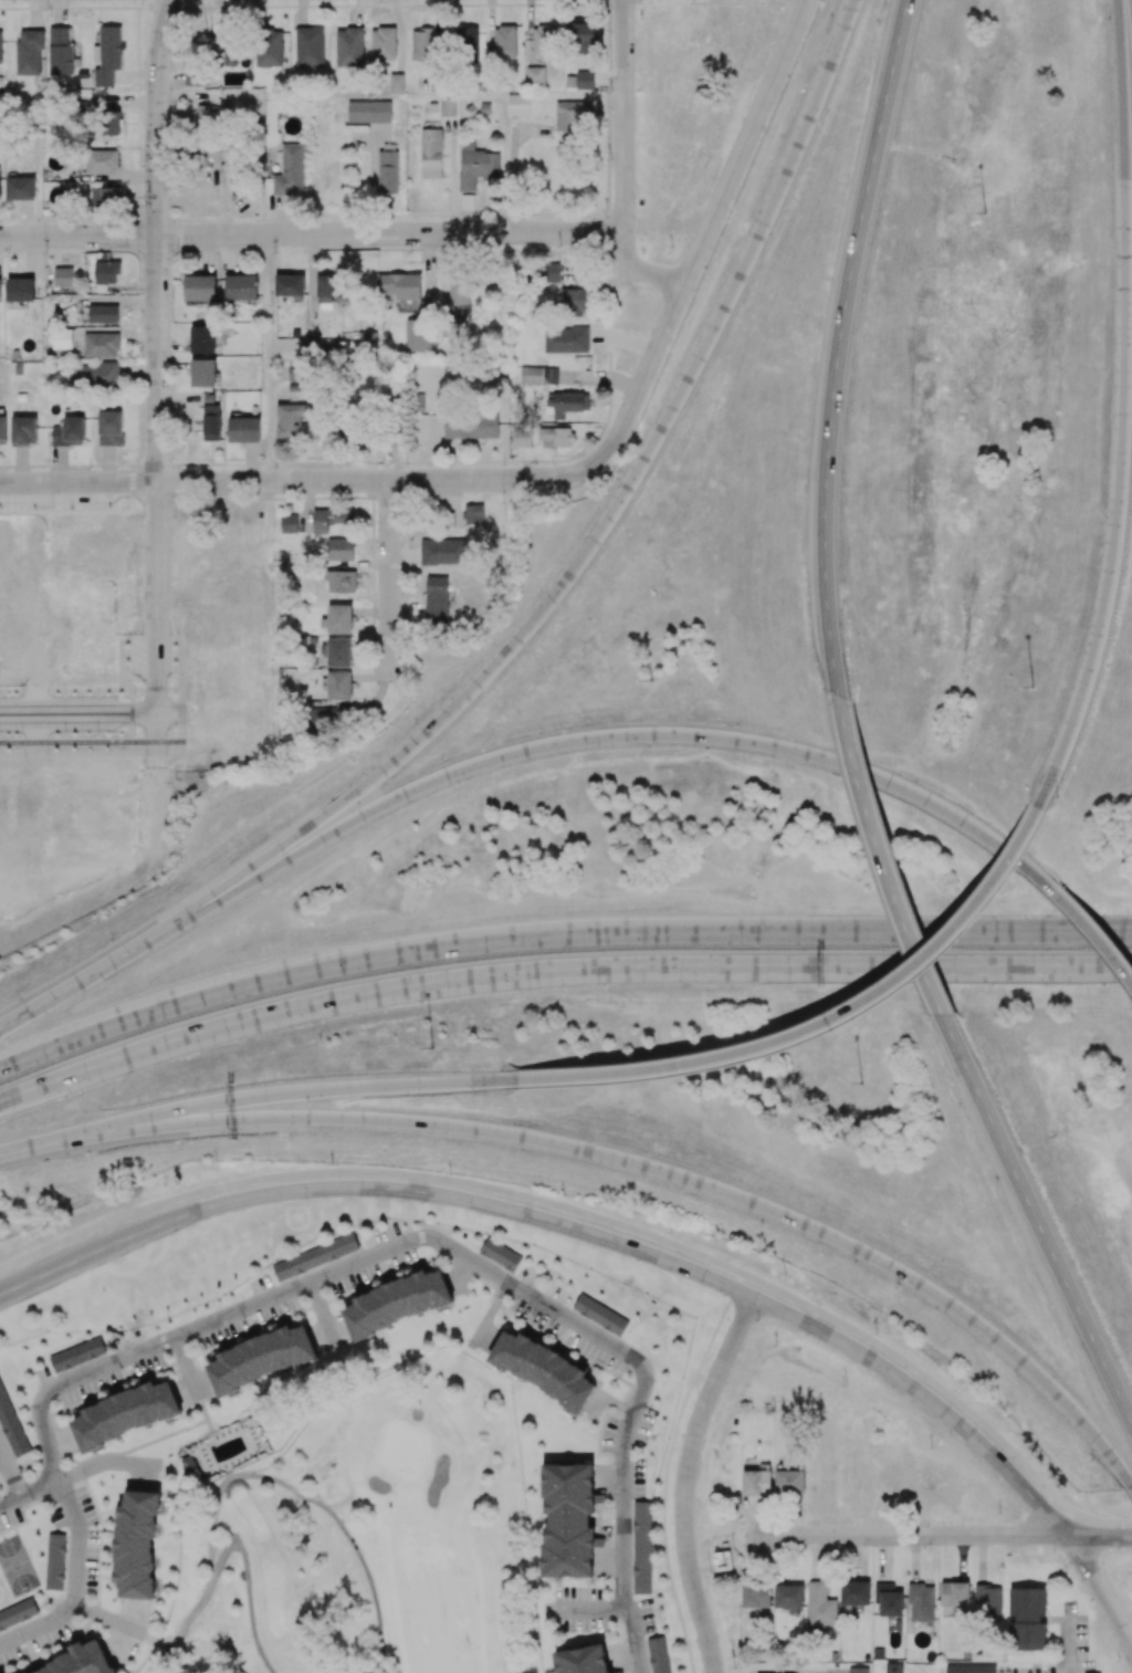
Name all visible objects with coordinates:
road: (742, 143)
road: (622, 163)
street lamp: (985, 213)
road: (311, 233)
road: (157, 240)
road: (838, 351)
road: (643, 375)
road: (380, 480)
road: (78, 482)
road: (390, 581)
road: (158, 595)
street lamp: (651, 680)
street lamp: (1033, 686)
road: (151, 688)
road: (65, 689)
road: (132, 693)
road: (78, 709)
road: (130, 711)
road: (72, 736)
road: (91, 742)
road: (157, 793)
road: (479, 866)
road: (883, 866)
traffic signals: (156, 877)
road: (76, 897)
road: (956, 931)
road: (1123, 933)
road: (752, 968)
road: (916, 968)
road: (1076, 969)
street lamp: (432, 1047)
road: (46, 1048)
road: (417, 1065)
street lamp: (860, 1084)
road: (665, 1132)
traffic signals: (149, 1175)
road: (74, 1203)
road: (502, 1207)
road: (601, 1214)
road: (1037, 1221)
road: (502, 1280)
road: (323, 1313)
road: (491, 1314)
road: (135, 1355)
road: (187, 1367)
road: (617, 1403)
street lamp: (1092, 1462)
road: (106, 1464)
building: (189, 1468)
road: (10, 1475)
road: (685, 1485)
road: (1131, 1488)
road: (40, 1492)
road: (310, 1498)
road: (10, 1504)
road: (623, 1510)
road: (986, 1530)
road: (1098, 1535)
road: (843, 1536)
park: (366, 1538)
road: (78, 1543)
street lamp: (1052, 1549)
street lamp: (927, 1551)
building: (722, 1564)
park: (18, 1567)
road: (1101, 1567)
road: (248, 1586)
road: (1091, 1603)
road: (593, 1611)
road: (193, 1617)
road: (127, 1628)
road: (39, 1629)
road: (636, 1641)
road: (1071, 1644)
road: (190, 1648)
building: (208, 1656)
road: (185, 1660)
road: (167, 1661)
road: (841, 1672)

